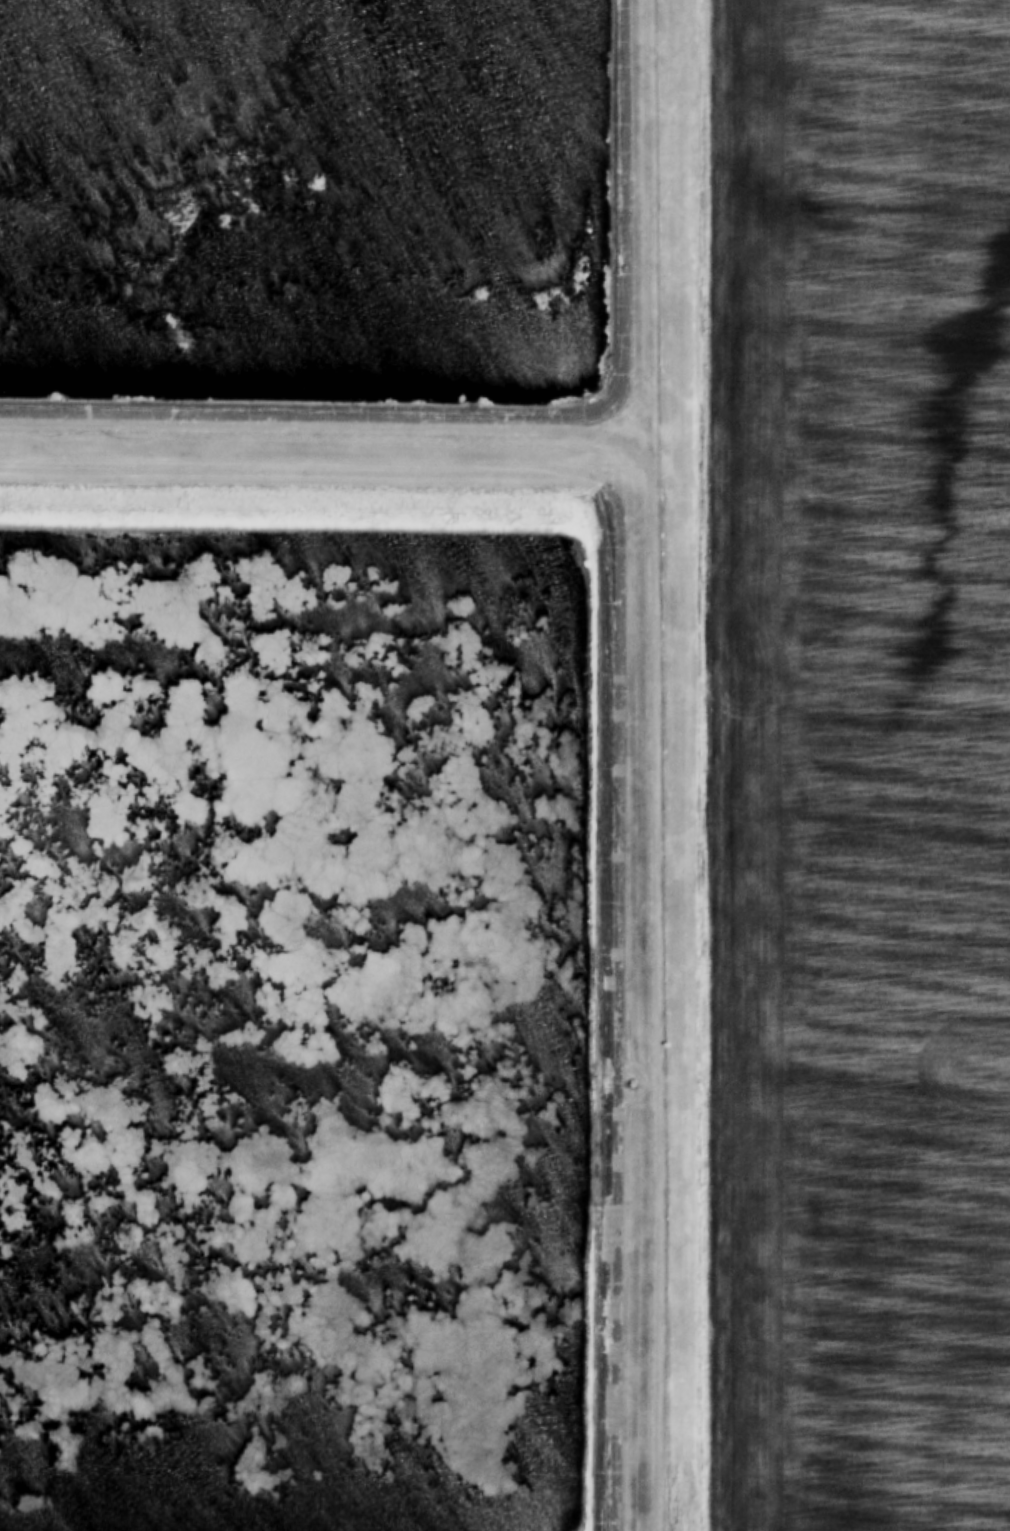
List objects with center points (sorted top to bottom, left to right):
road: (652, 670)
crop: (858, 766)
wastewater plant: (330, 767)

